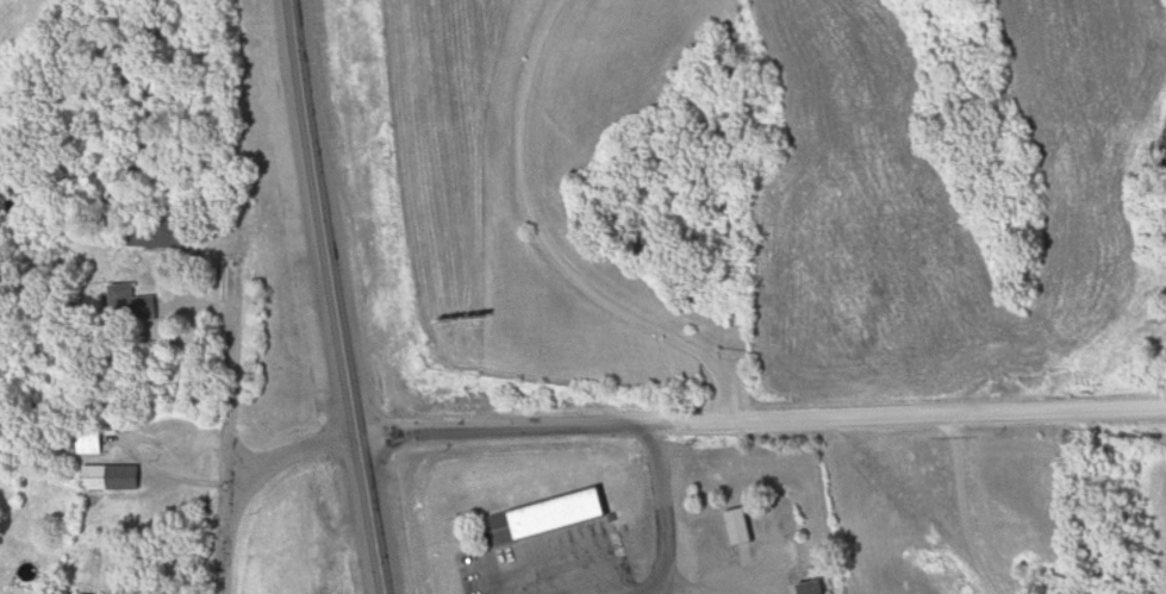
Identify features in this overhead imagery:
building: (169, 235)
road: (548, 248)
road: (317, 296)
building: (138, 305)
road: (760, 419)
road: (232, 427)
building: (91, 444)
road: (293, 458)
building: (113, 479)
road: (961, 508)
road: (660, 509)
building: (551, 517)
building: (743, 526)

